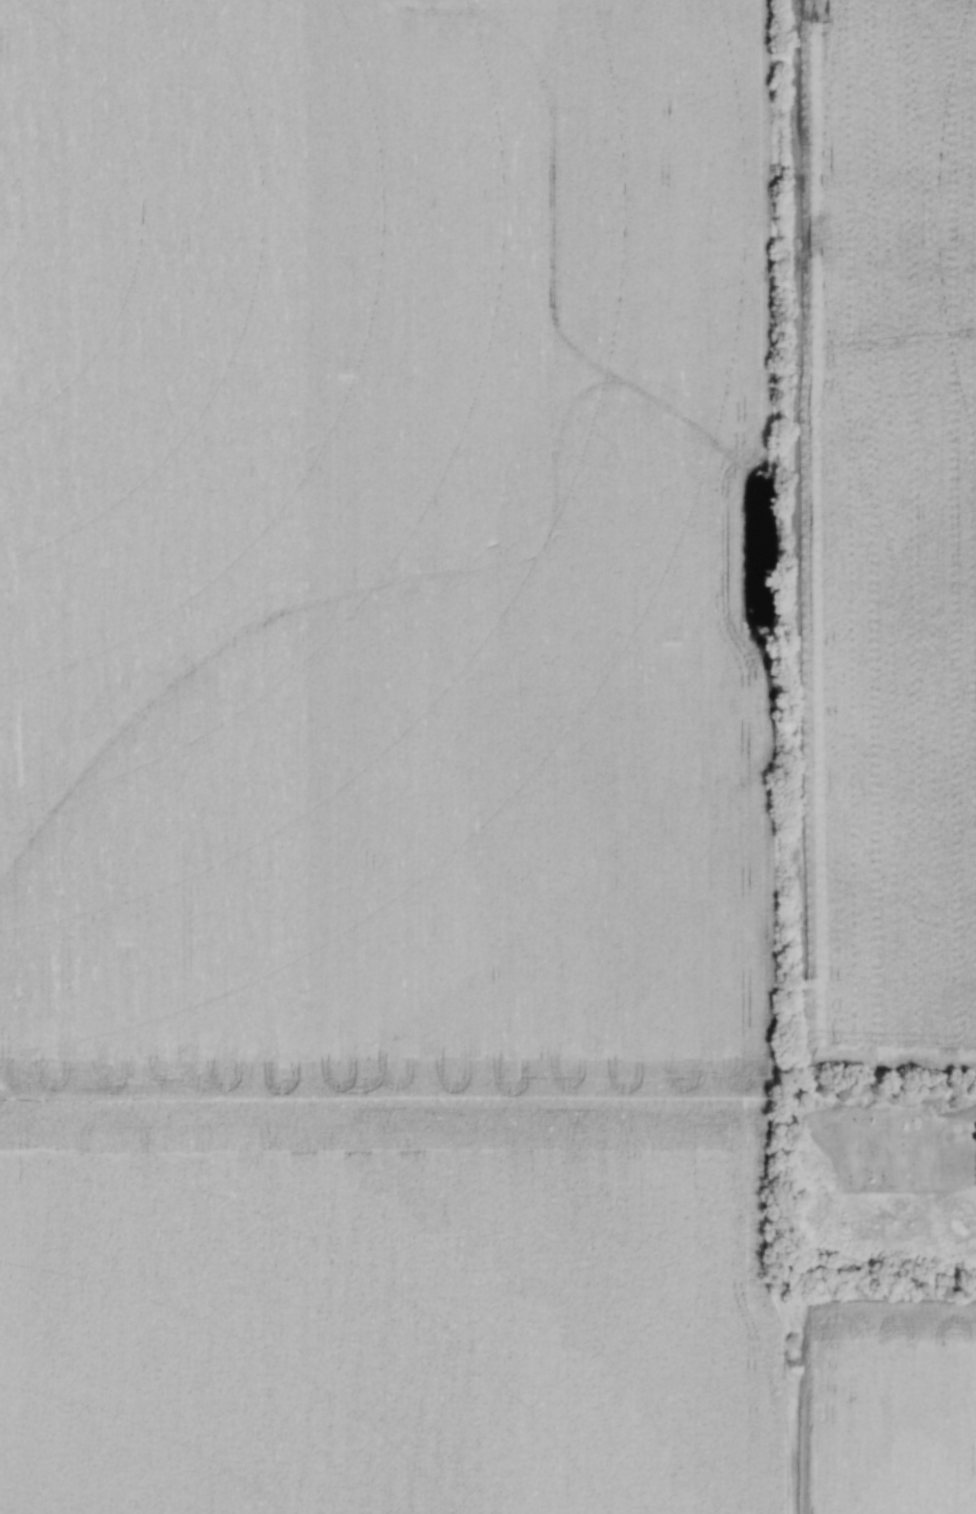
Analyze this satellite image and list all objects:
road: (975, 1091)
park: (878, 1175)

